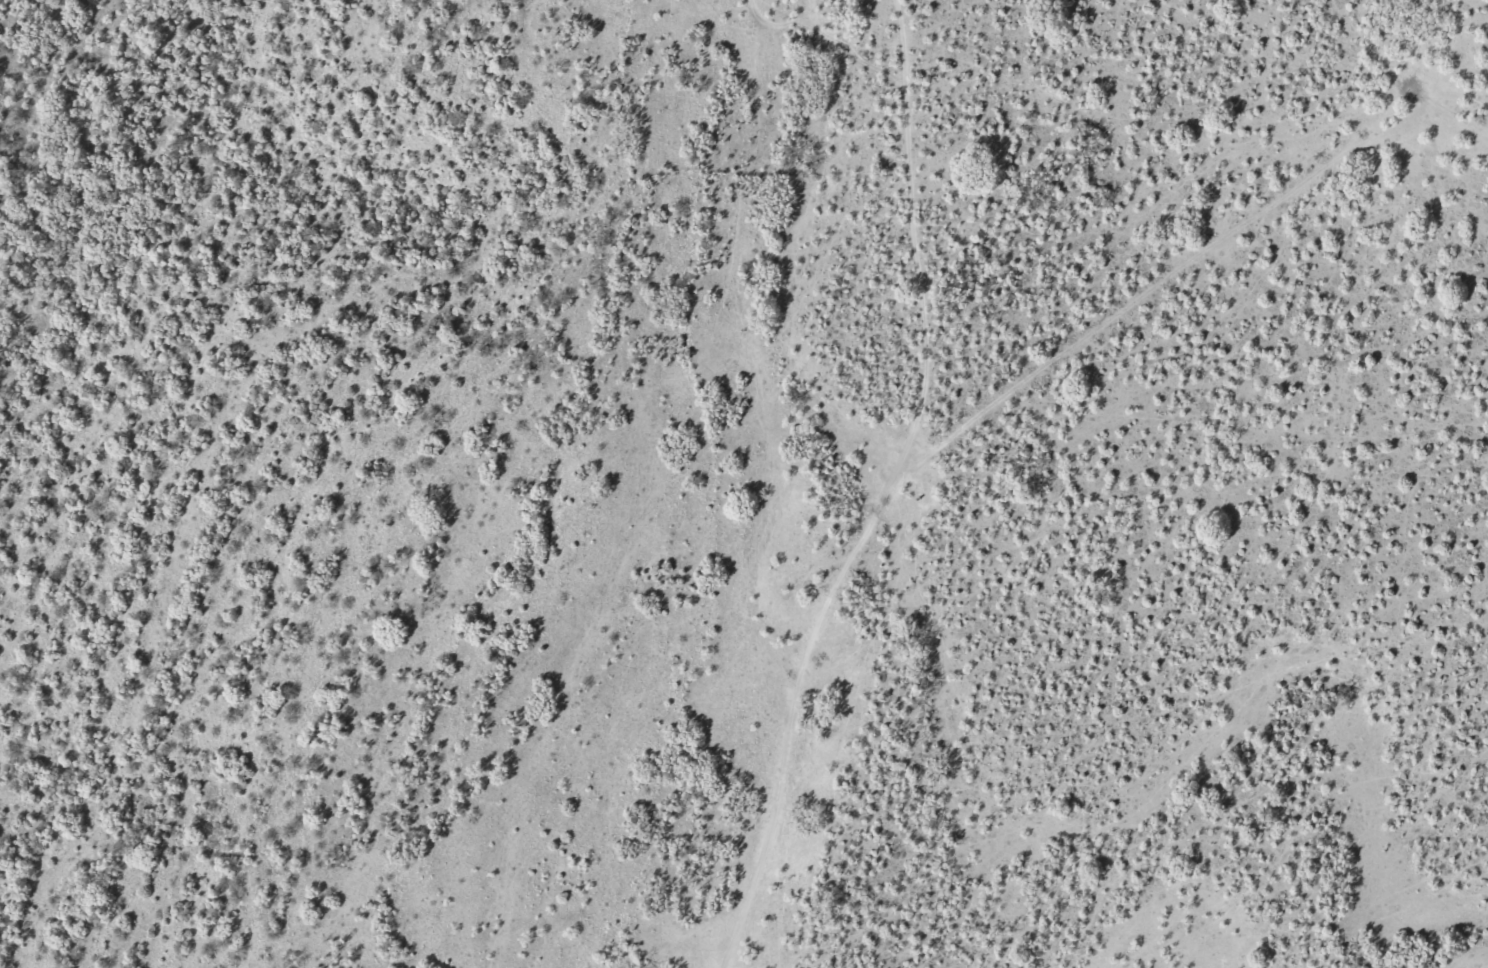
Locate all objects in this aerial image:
road: (888, 130)
road: (120, 135)
road: (1338, 190)
road: (892, 349)
road: (826, 523)
road: (1487, 967)

